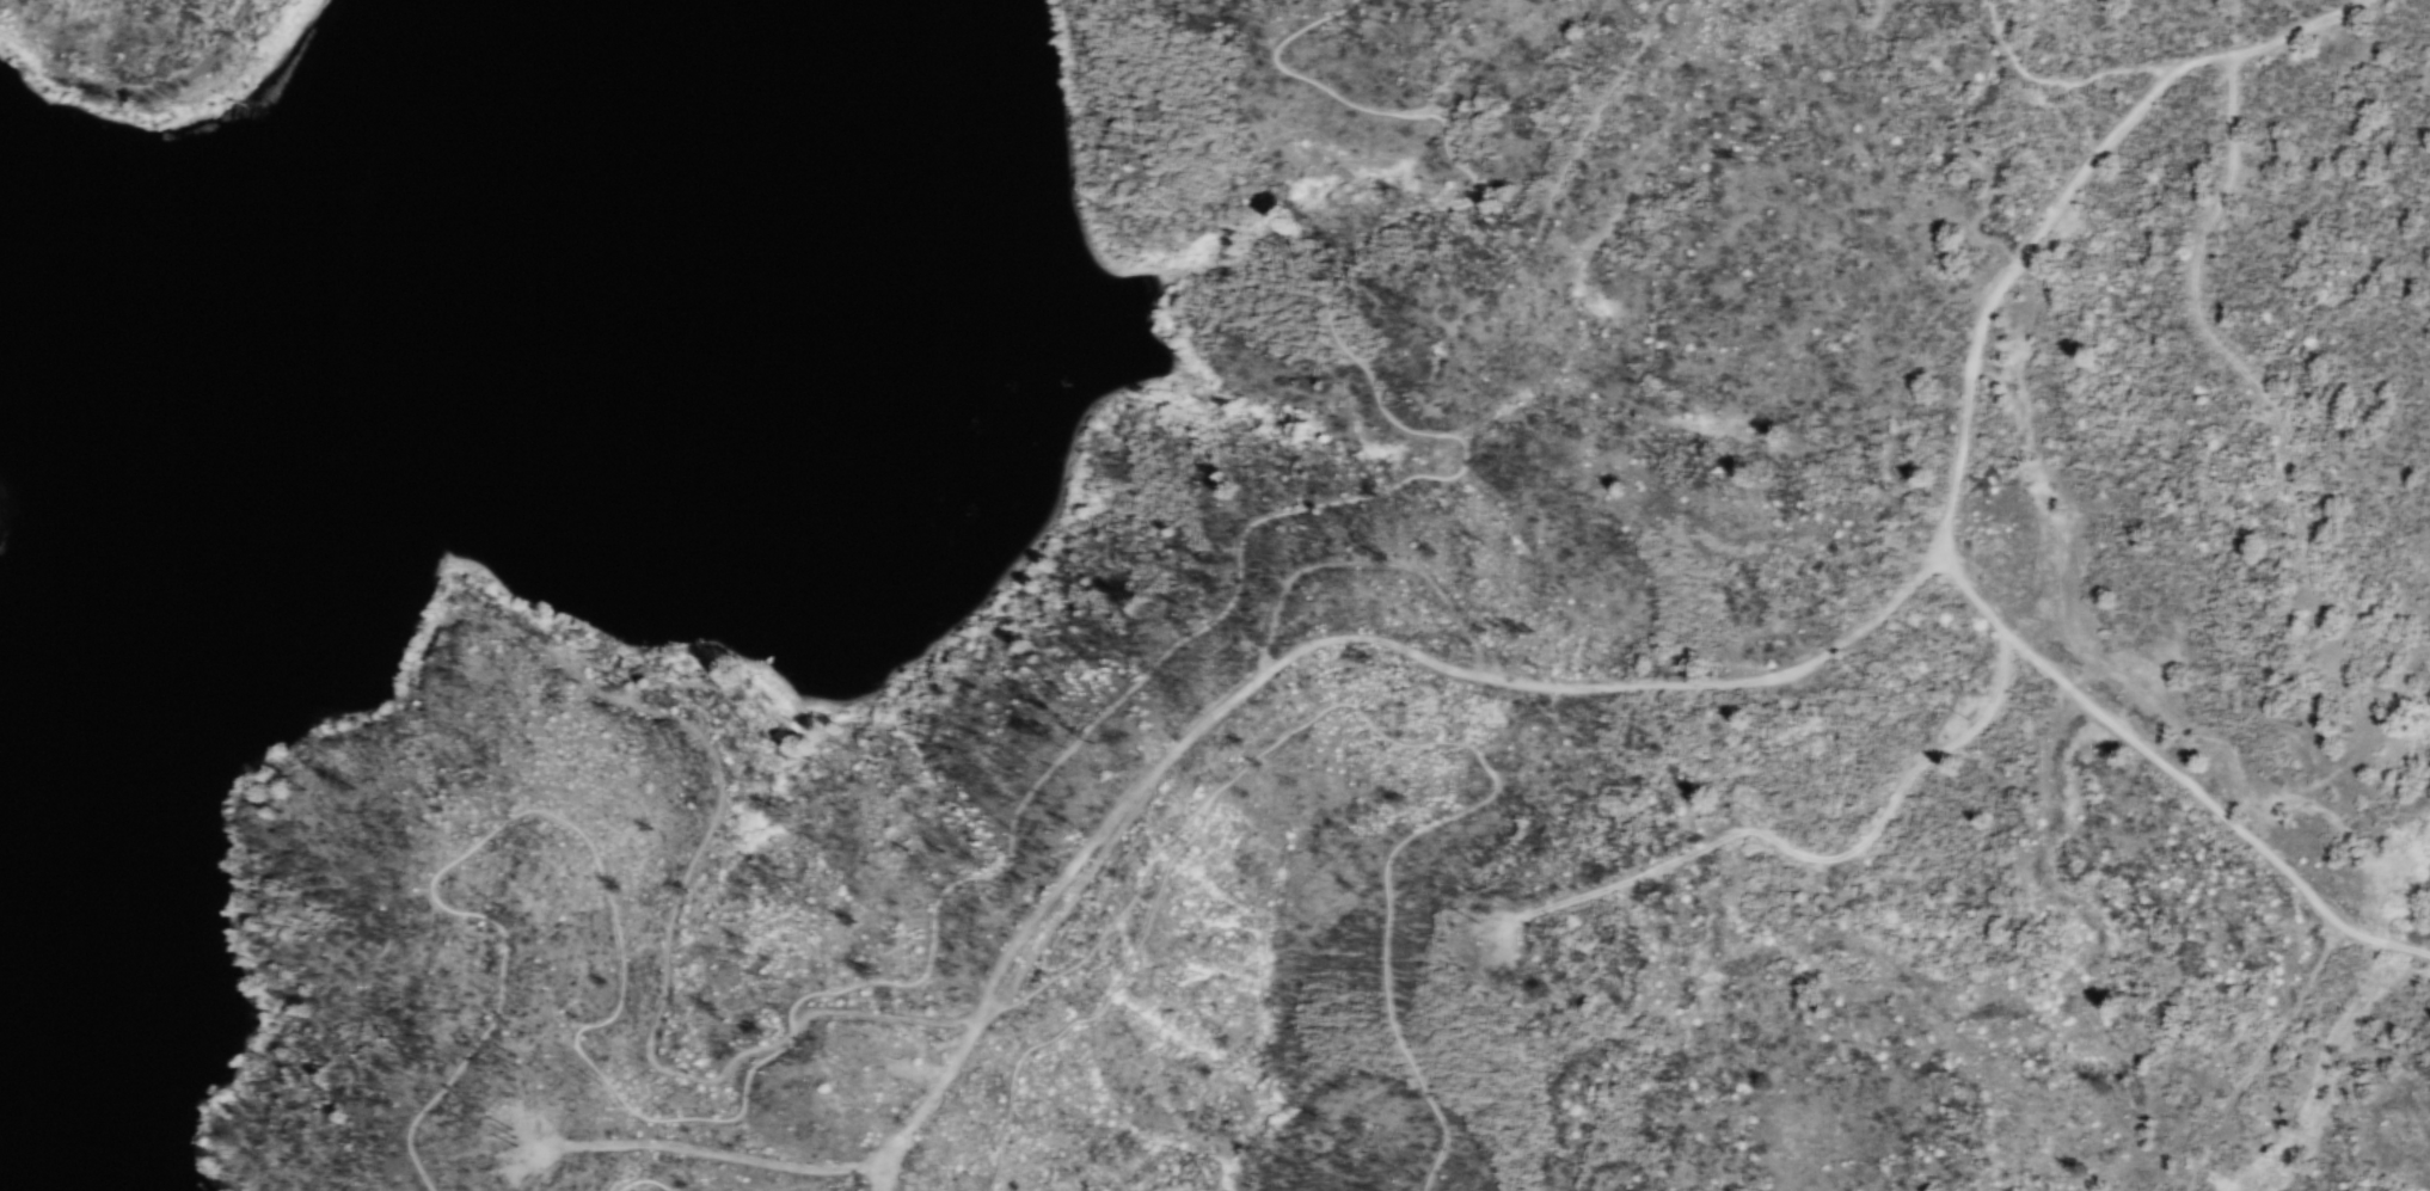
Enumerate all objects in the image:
road: (2272, 41)
road: (2148, 68)
road: (2030, 75)
road: (2002, 284)
road: (2208, 334)
river: (240, 490)
road: (1366, 559)
road: (1726, 681)
road: (1352, 707)
road: (2134, 741)
road: (1178, 745)
road: (719, 798)
road: (1006, 843)
road: (1797, 852)
road: (2382, 941)
road: (1055, 978)
road: (2262, 1055)
road: (934, 1091)
road: (713, 1152)
road: (884, 1175)
road: (642, 1186)

